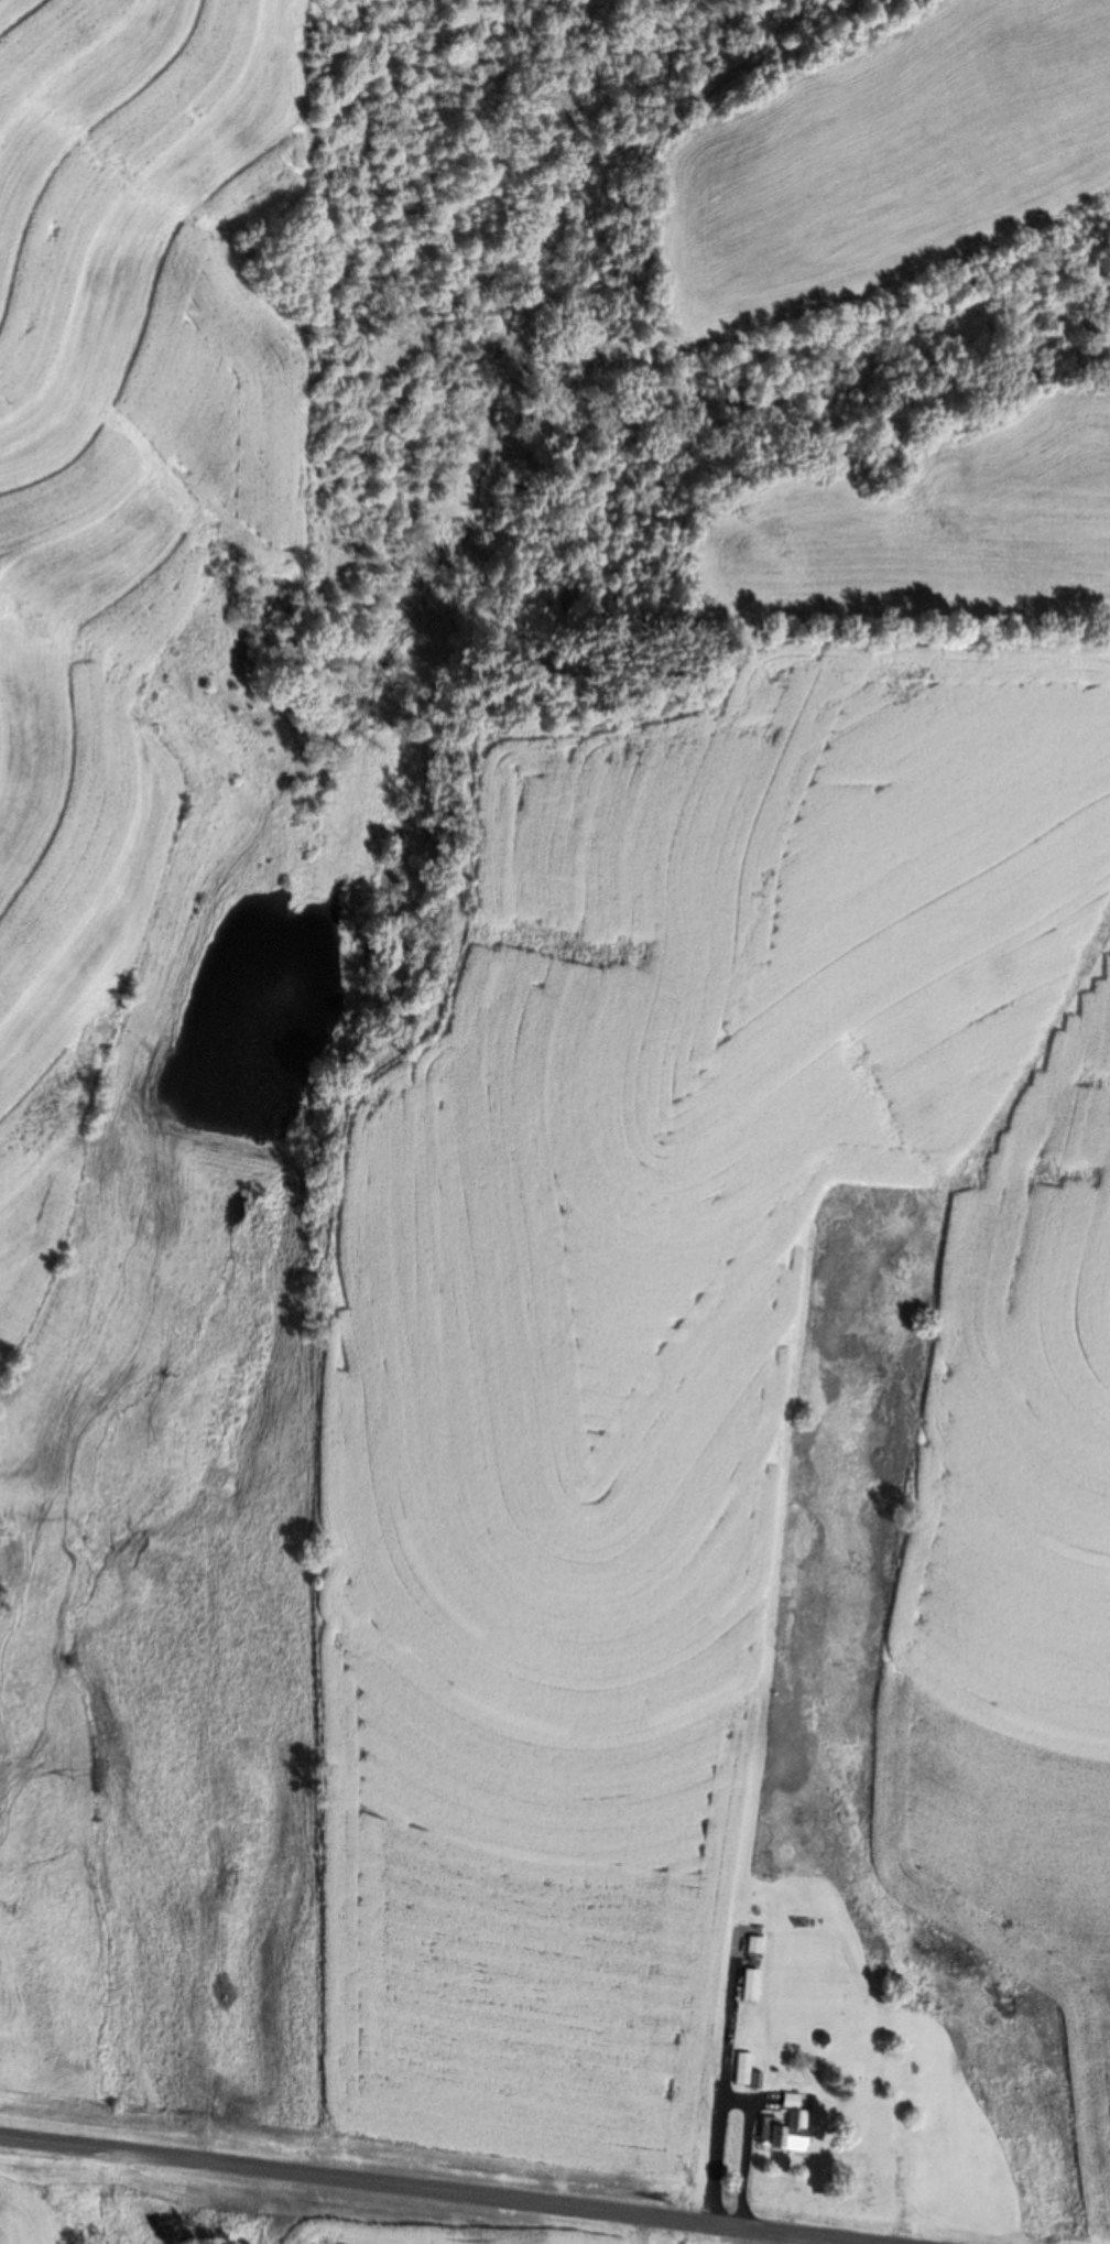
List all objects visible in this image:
building: (744, 2069)
building: (787, 2128)
road: (429, 2190)

